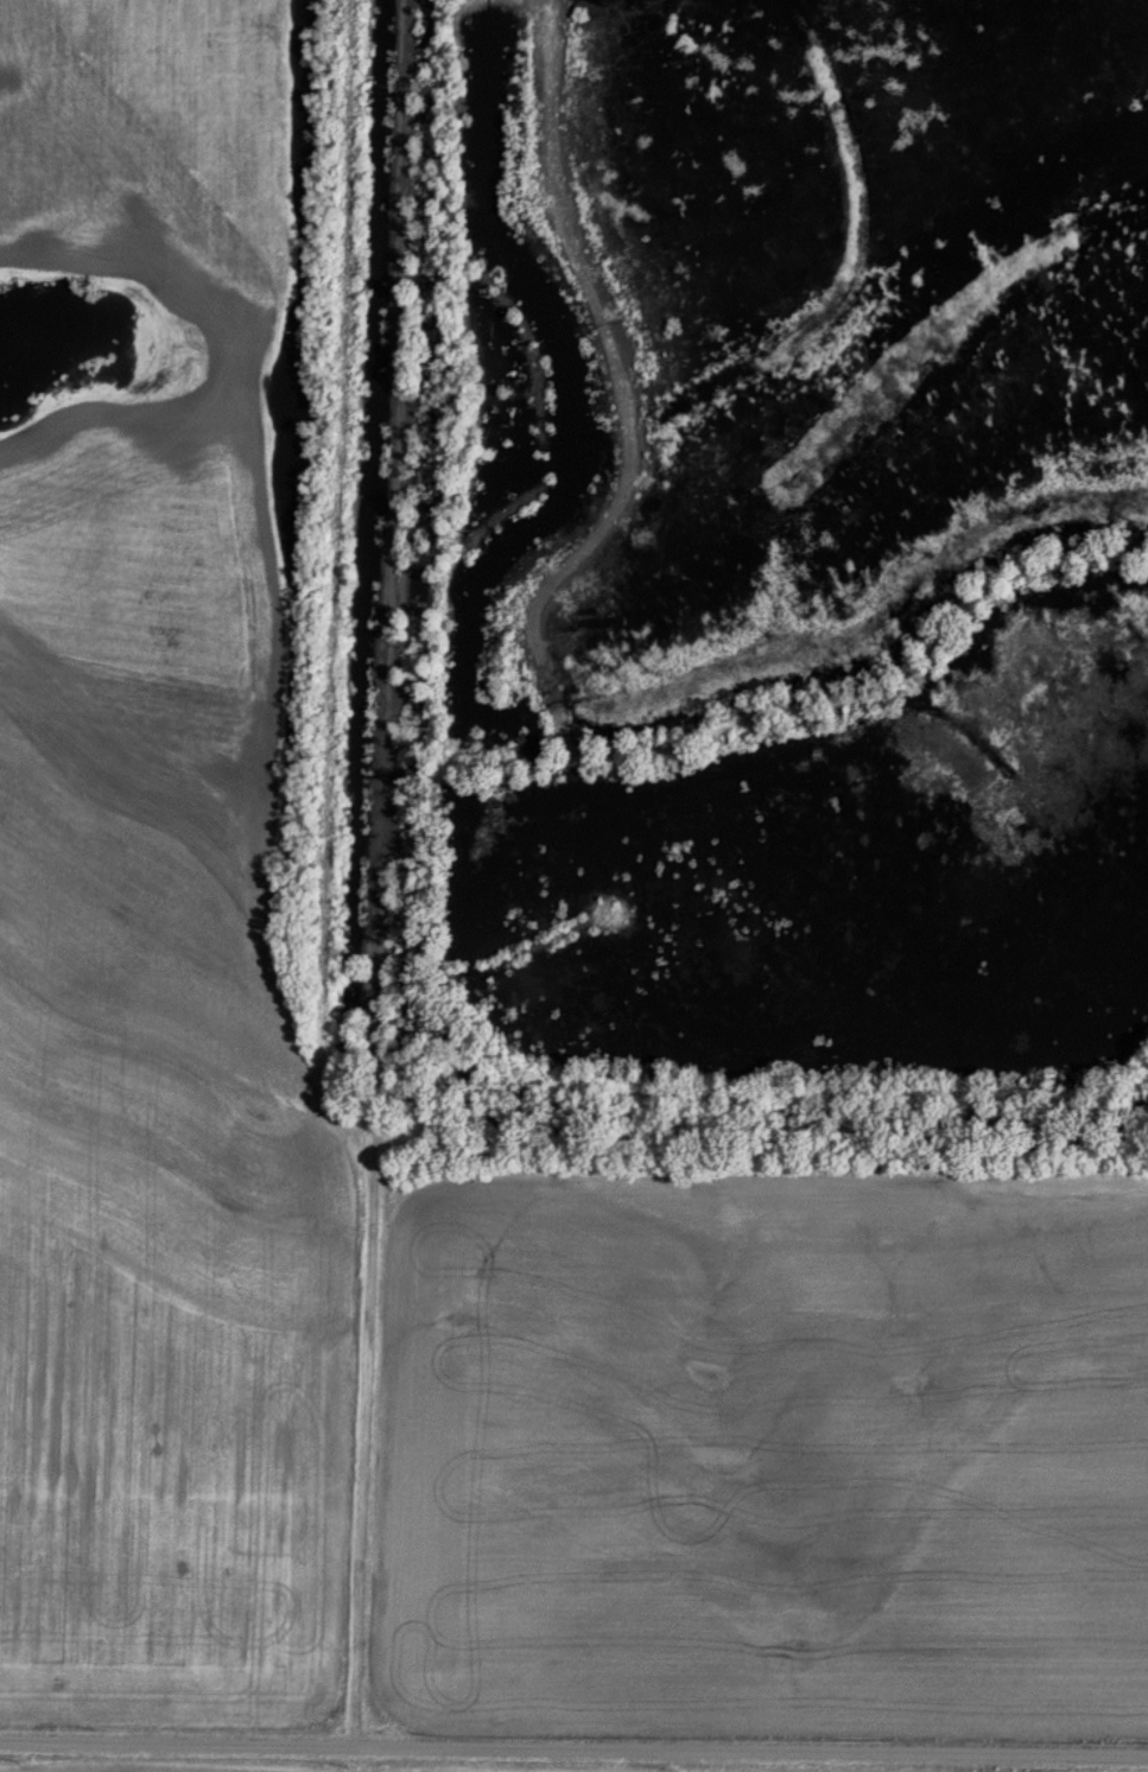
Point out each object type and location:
road: (547, 682)
road: (379, 871)
road: (573, 1745)

